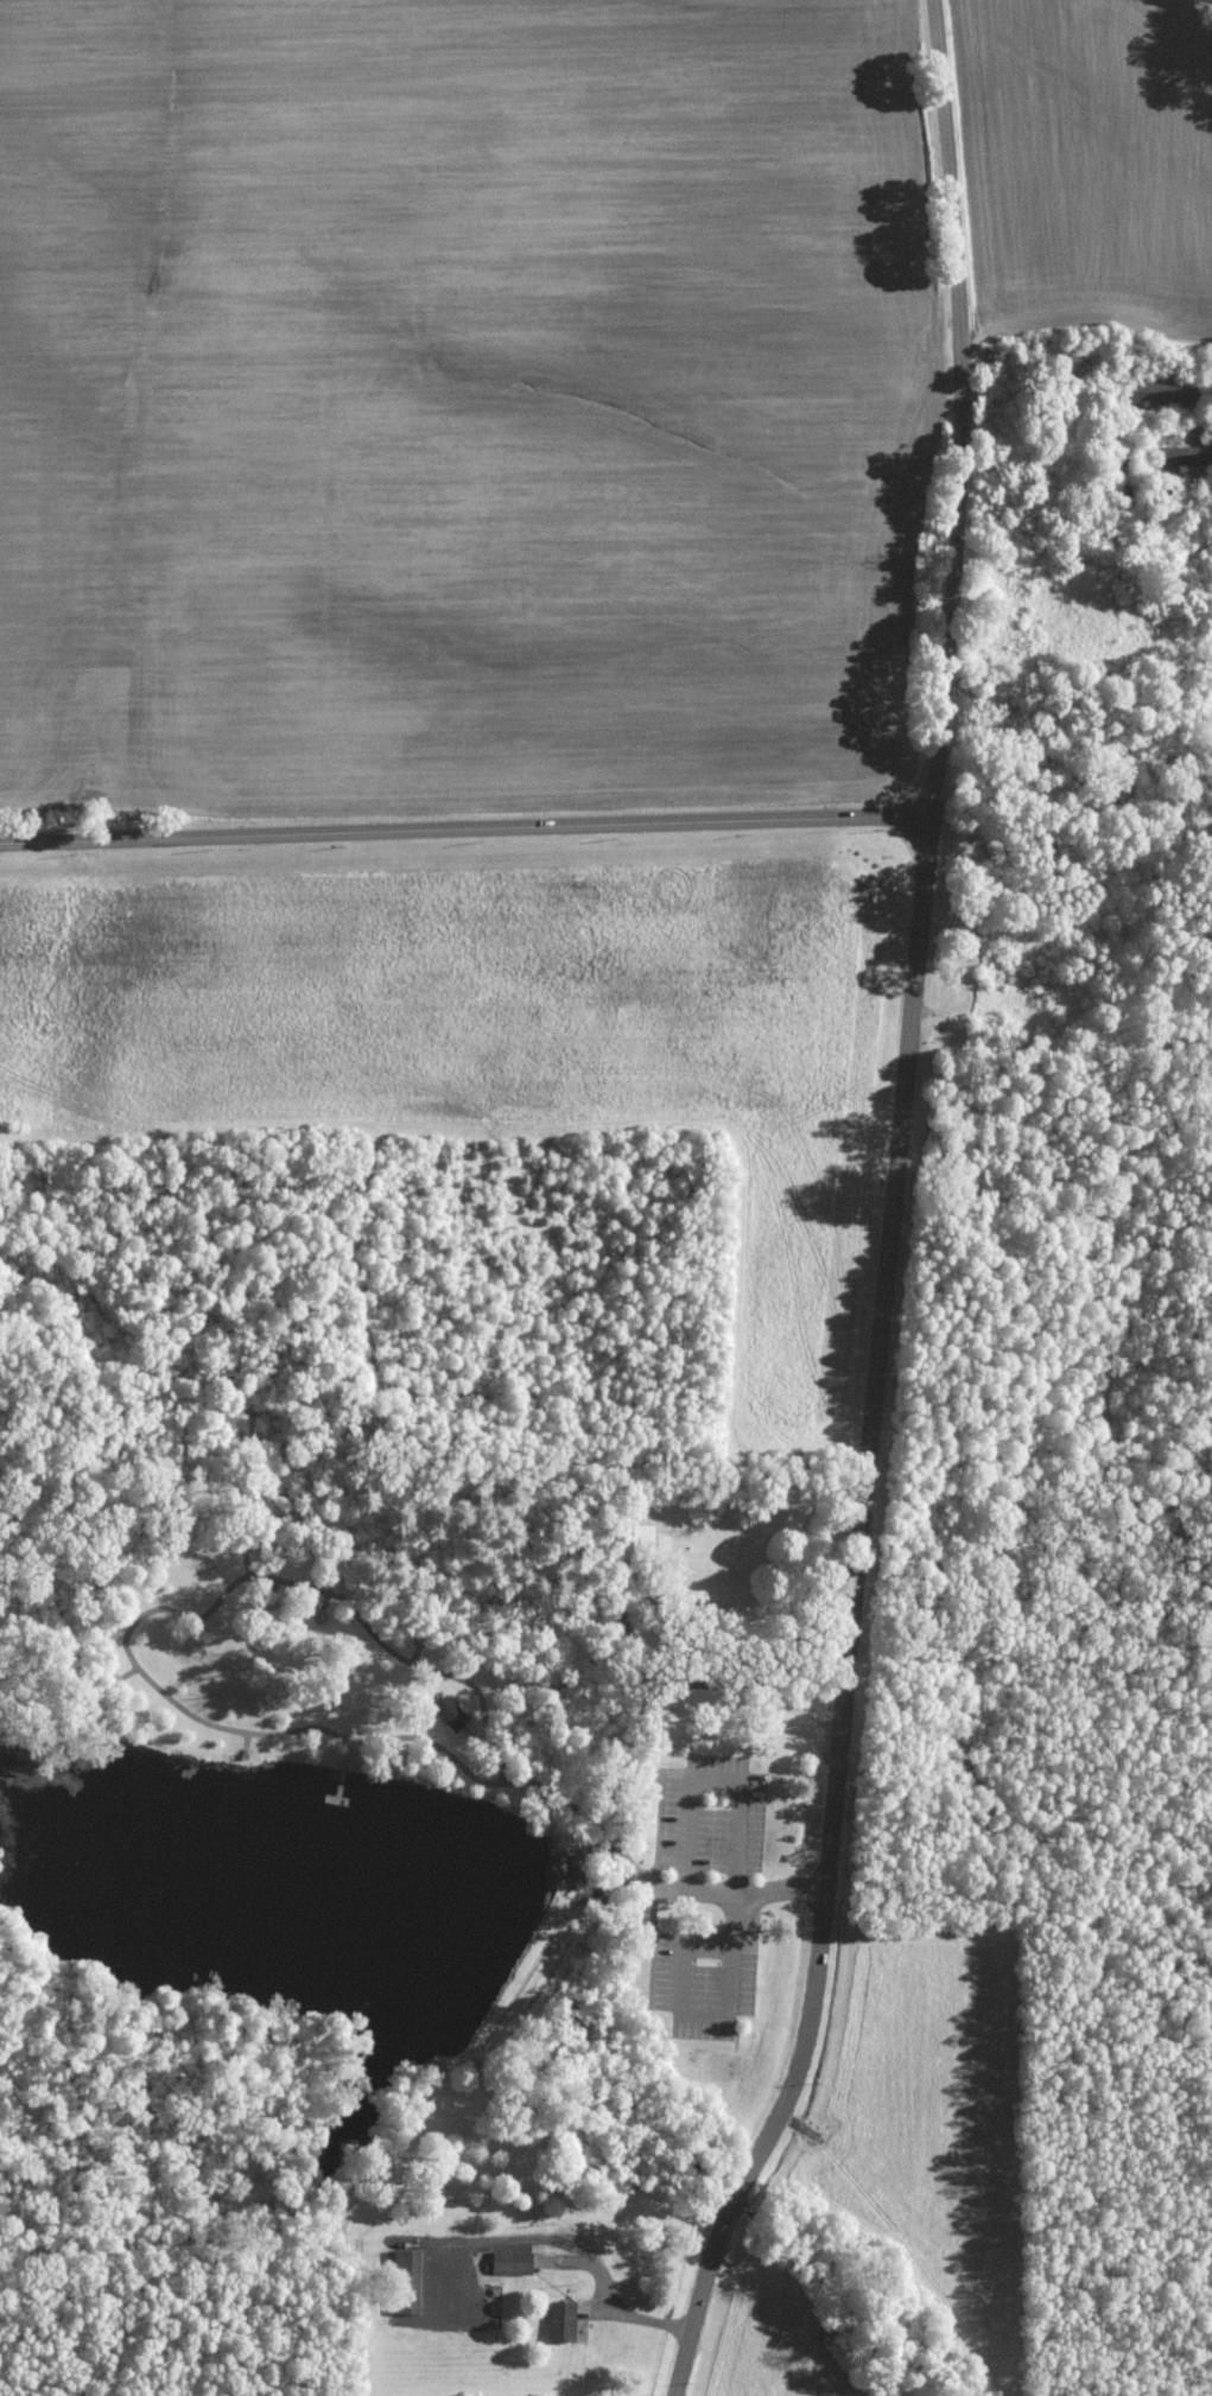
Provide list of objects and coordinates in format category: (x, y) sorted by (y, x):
building: (1161, 390)
building: (1184, 456)
road: (464, 825)
road: (890, 1212)
road: (246, 1565)
road: (230, 1584)
road: (414, 1652)
road: (128, 1672)
park: (377, 1711)
building: (449, 1711)
road: (478, 1736)
road: (246, 1741)
road: (351, 1752)
building: (637, 1772)
pier: (337, 1791)
road: (659, 1819)
road: (635, 1879)
road: (634, 1888)
road: (738, 1892)
road: (597, 1896)
parking lot: (709, 1900)
road: (732, 1900)
road: (653, 1945)
road: (145, 2070)
road: (400, 2135)
road: (272, 2225)
road: (115, 2246)
building: (510, 2262)
building: (406, 2281)
building: (561, 2320)

